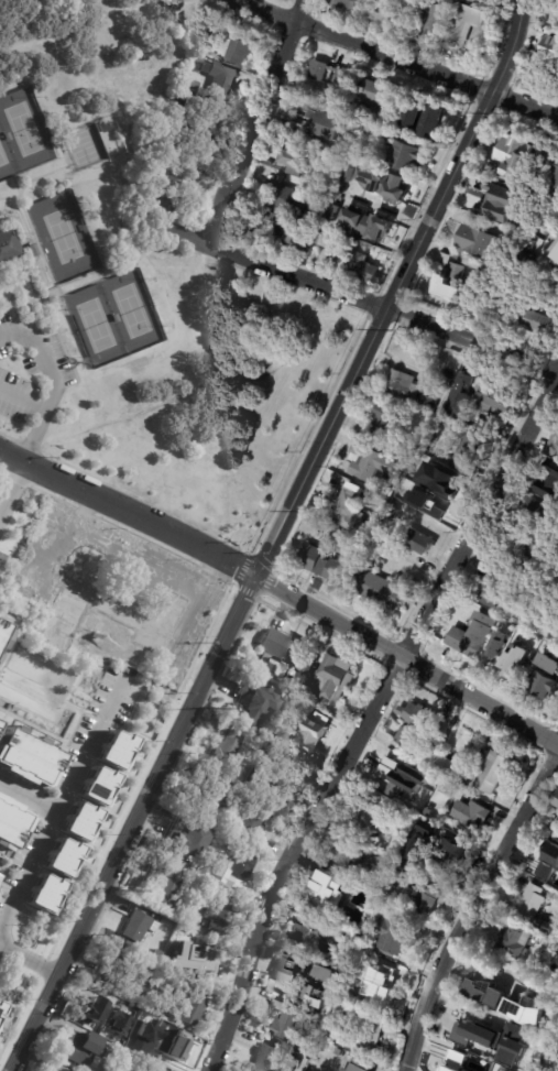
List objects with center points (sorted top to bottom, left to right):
building: (344, 3)
building: (392, 15)
building: (430, 21)
road: (85, 23)
building: (468, 24)
building: (240, 47)
building: (548, 51)
road: (396, 58)
building: (473, 63)
building: (344, 75)
building: (221, 83)
building: (193, 85)
building: (379, 95)
building: (183, 109)
building: (305, 111)
power tower: (492, 112)
building: (412, 113)
road: (252, 120)
building: (428, 123)
park: (22, 128)
building: (105, 128)
building: (299, 128)
building: (370, 130)
building: (340, 145)
building: (190, 152)
park: (2, 155)
building: (406, 156)
building: (335, 157)
building: (294, 160)
building: (511, 160)
building: (350, 174)
building: (554, 174)
building: (160, 178)
building: (386, 186)
building: (318, 197)
building: (291, 201)
building: (483, 203)
building: (258, 206)
building: (333, 214)
building: (366, 226)
building: (291, 231)
park: (63, 236)
building: (327, 240)
building: (475, 241)
building: (532, 245)
building: (9, 248)
building: (32, 251)
building: (554, 251)
building: (472, 263)
building: (358, 265)
building: (450, 283)
park: (140, 285)
road: (394, 289)
road: (346, 293)
building: (547, 304)
park: (131, 310)
building: (536, 323)
park: (96, 325)
power tower: (387, 330)
parking lot: (31, 375)
building: (444, 381)
road: (53, 384)
building: (405, 389)
road: (22, 400)
building: (497, 402)
building: (457, 405)
building: (384, 424)
building: (502, 431)
building: (426, 441)
building: (552, 444)
building: (467, 458)
building: (369, 463)
building: (550, 479)
road: (11, 485)
building: (444, 498)
road: (129, 511)
power tower: (299, 512)
building: (352, 513)
building: (392, 513)
building: (535, 513)
building: (419, 544)
building: (526, 555)
building: (325, 567)
building: (378, 590)
building: (492, 590)
building: (504, 624)
building: (2, 632)
building: (517, 632)
building: (472, 637)
building: (533, 637)
building: (281, 647)
building: (494, 647)
building: (526, 647)
road: (406, 660)
building: (544, 676)
building: (331, 678)
building: (291, 681)
building: (254, 701)
power tower: (207, 709)
road: (368, 717)
building: (415, 725)
building: (317, 730)
building: (114, 750)
building: (225, 753)
building: (26, 756)
building: (439, 762)
building: (496, 769)
building: (392, 771)
building: (457, 777)
building: (97, 786)
building: (447, 789)
building: (556, 800)
building: (210, 805)
road: (28, 808)
building: (556, 811)
building: (472, 813)
building: (366, 815)
road: (56, 820)
building: (79, 822)
road: (135, 822)
building: (251, 822)
building: (11, 824)
building: (188, 841)
building: (347, 852)
building: (456, 854)
building: (62, 857)
building: (381, 861)
building: (549, 864)
building: (242, 867)
building: (216, 868)
building: (406, 868)
building: (0, 875)
building: (166, 889)
building: (327, 890)
power tower: (117, 892)
building: (44, 894)
building: (426, 901)
building: (532, 901)
road: (471, 905)
building: (383, 908)
building: (359, 921)
building: (325, 922)
building: (217, 924)
building: (549, 926)
building: (140, 927)
building: (302, 935)
building: (392, 937)
building: (338, 938)
building: (514, 941)
building: (189, 959)
road: (30, 964)
building: (121, 965)
building: (296, 969)
building: (525, 969)
building: (328, 974)
building: (385, 981)
building: (157, 983)
building: (167, 984)
building: (320, 984)
building: (142, 991)
building: (317, 997)
building: (511, 1004)
building: (1, 1008)
building: (192, 1009)
building: (338, 1010)
building: (90, 1018)
building: (288, 1023)
building: (116, 1024)
building: (462, 1028)
building: (511, 1029)
building: (549, 1031)
building: (144, 1036)
building: (362, 1036)
building: (485, 1037)
building: (197, 1042)
building: (172, 1046)
building: (78, 1050)
building: (120, 1050)
building: (270, 1059)
building: (457, 1062)
building: (359, 1065)
building: (59, 1069)
building: (145, 1070)
building: (163, 1070)

